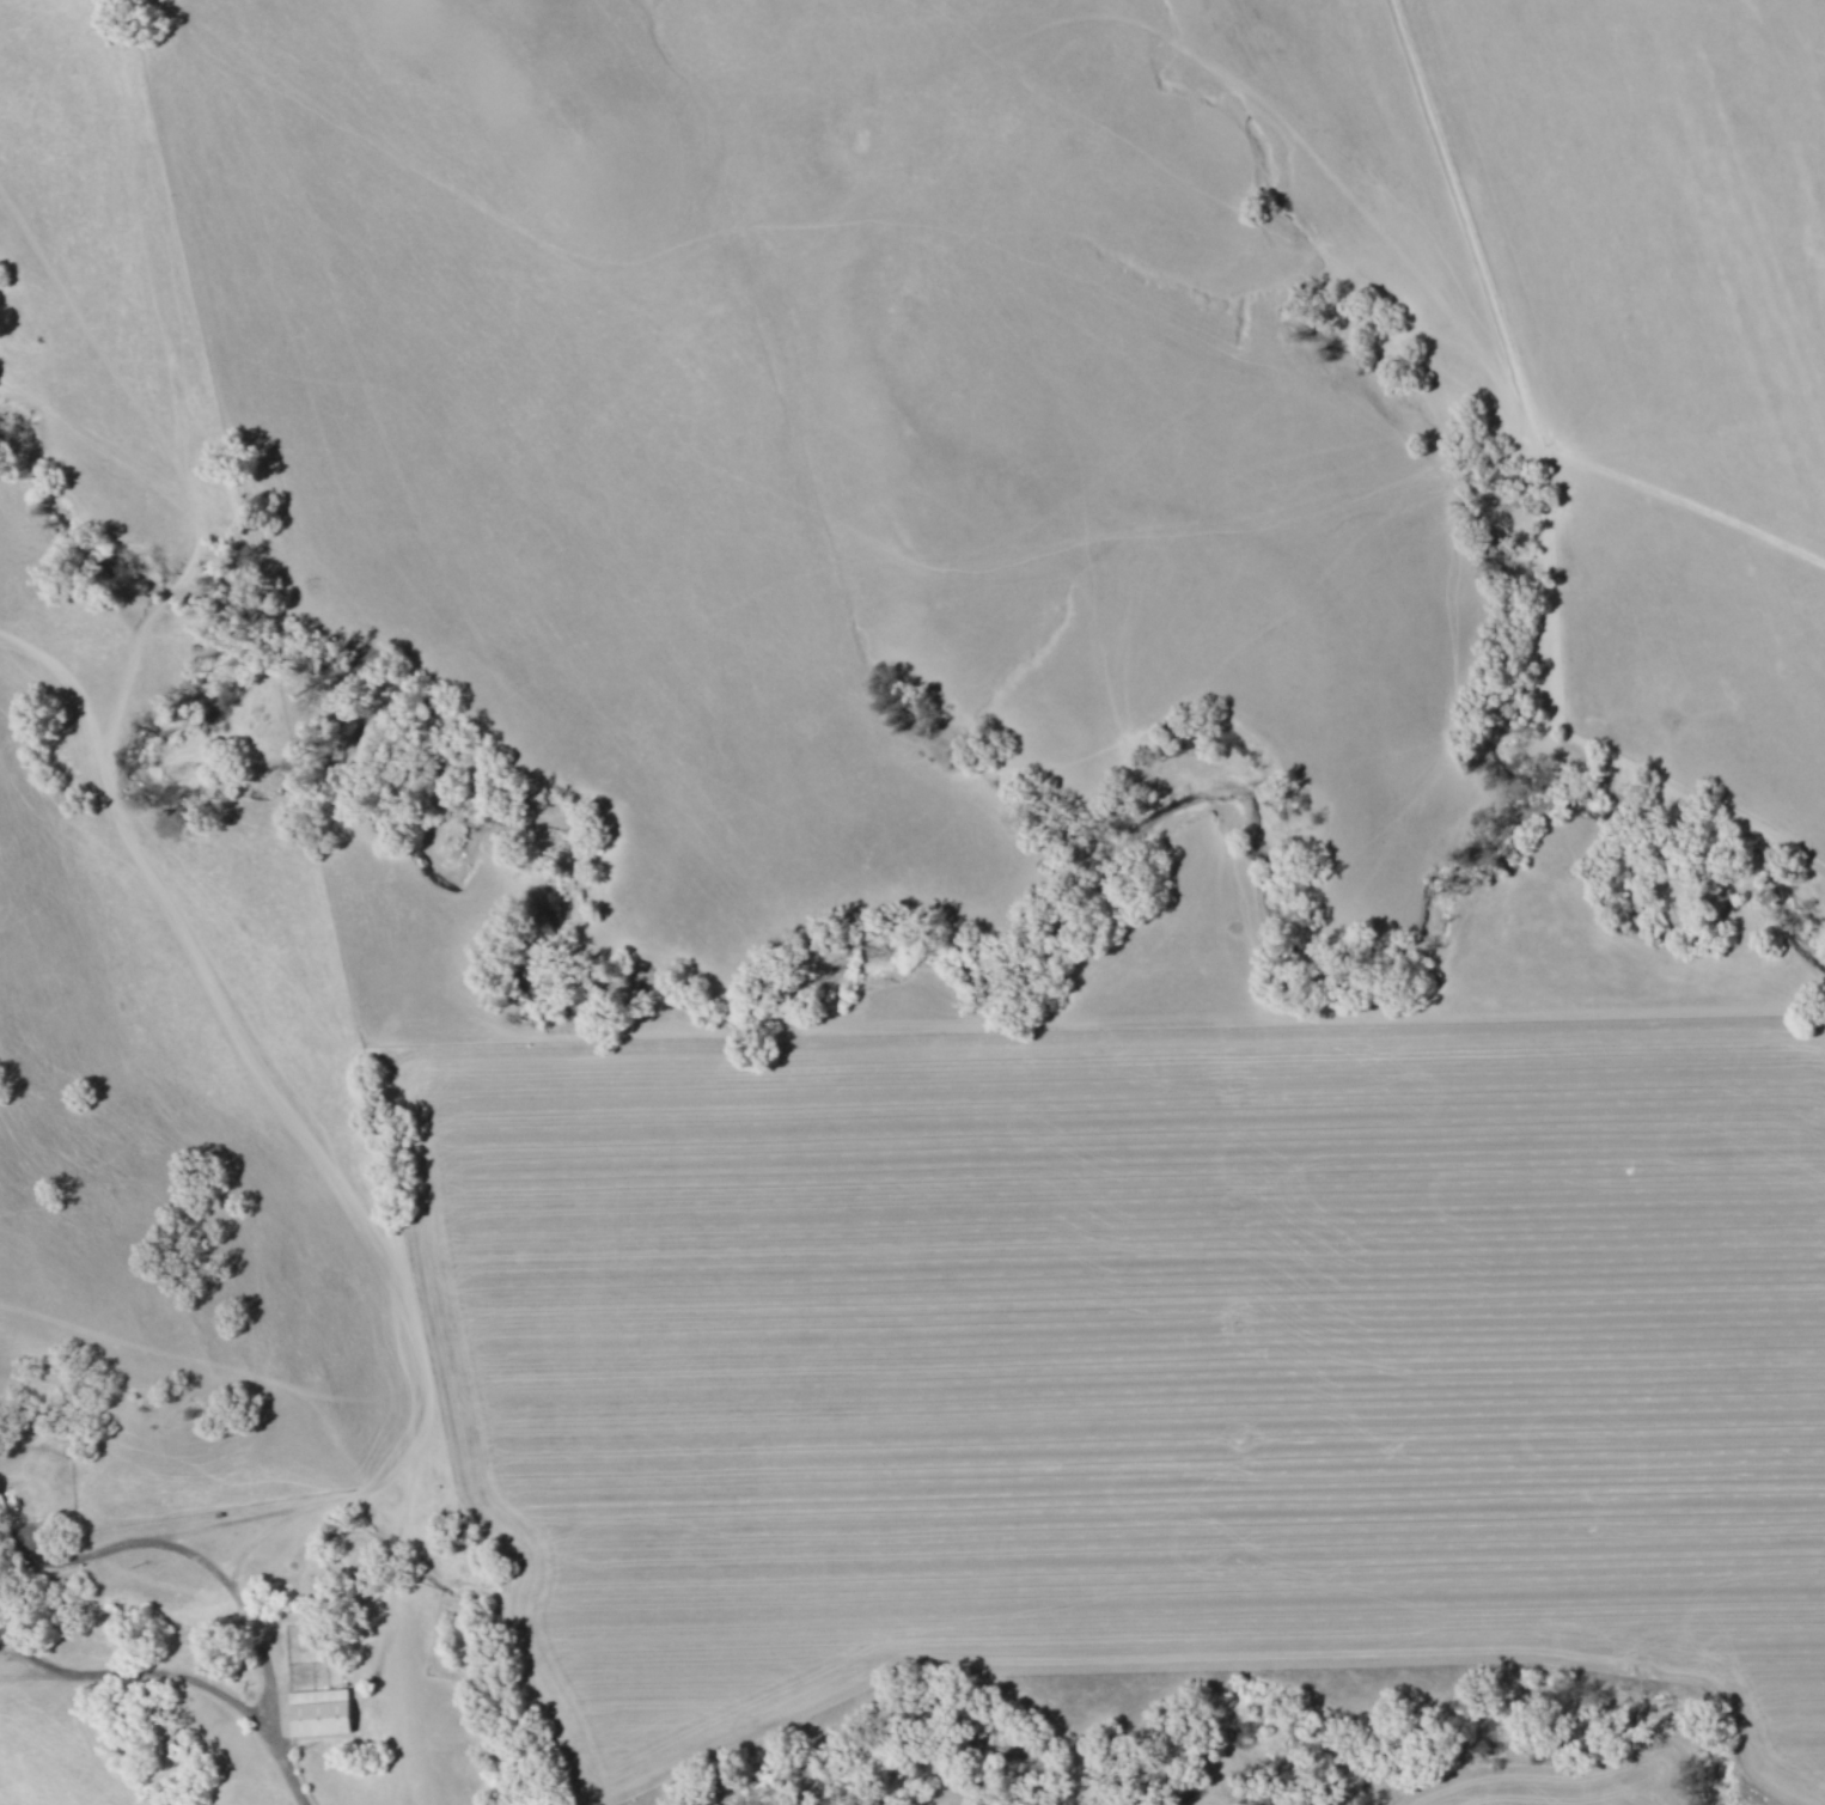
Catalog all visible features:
road: (176, 459)
road: (305, 1132)
road: (148, 1542)
road: (146, 1670)
road: (276, 1701)
building: (317, 1712)

